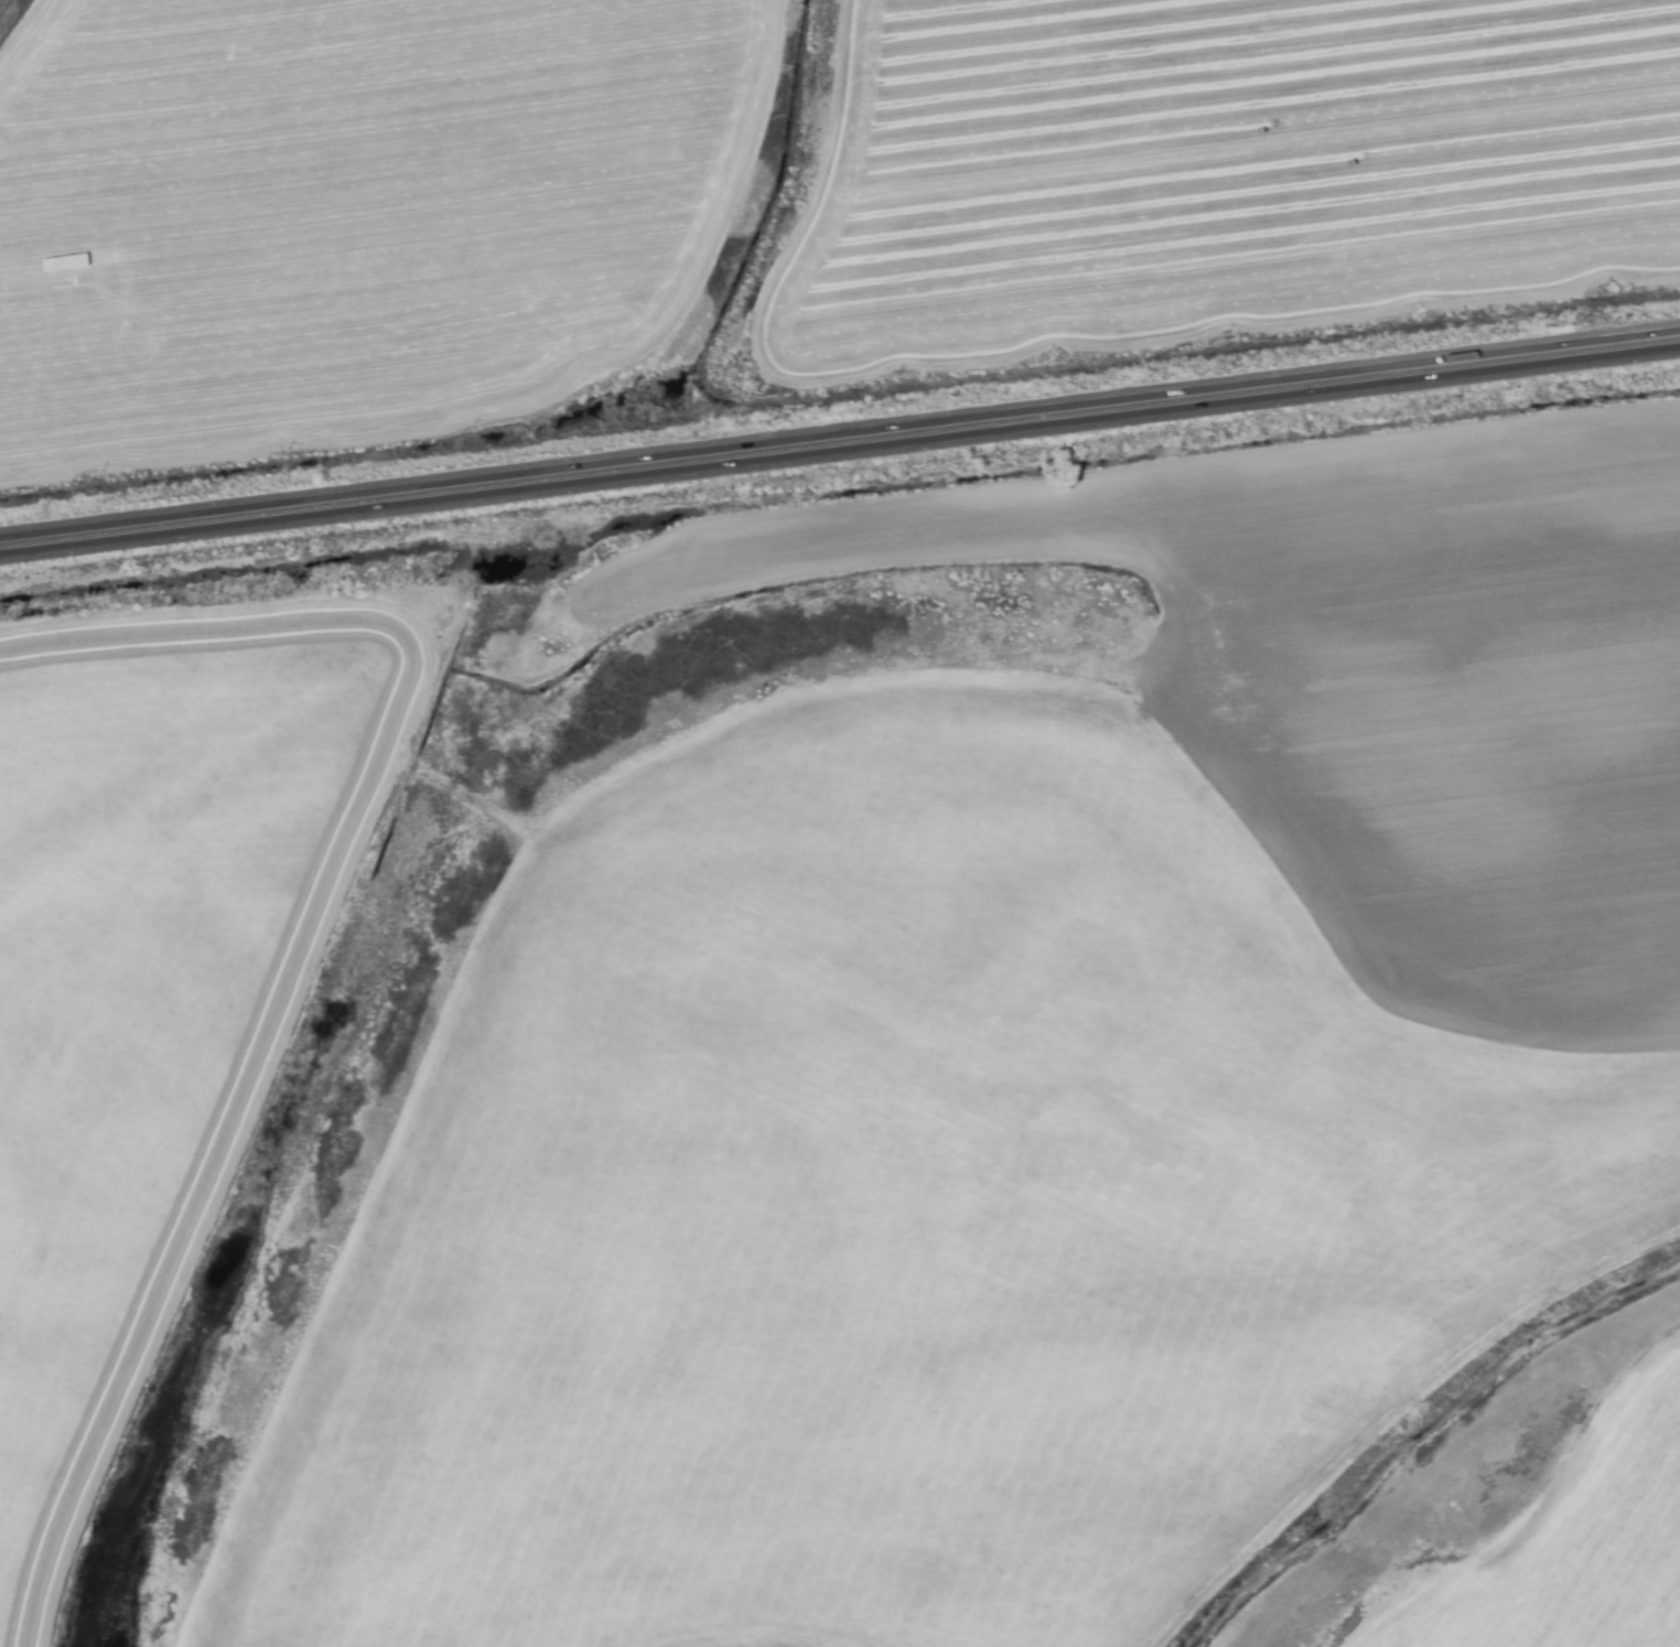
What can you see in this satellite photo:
road: (840, 439)
road: (840, 455)

